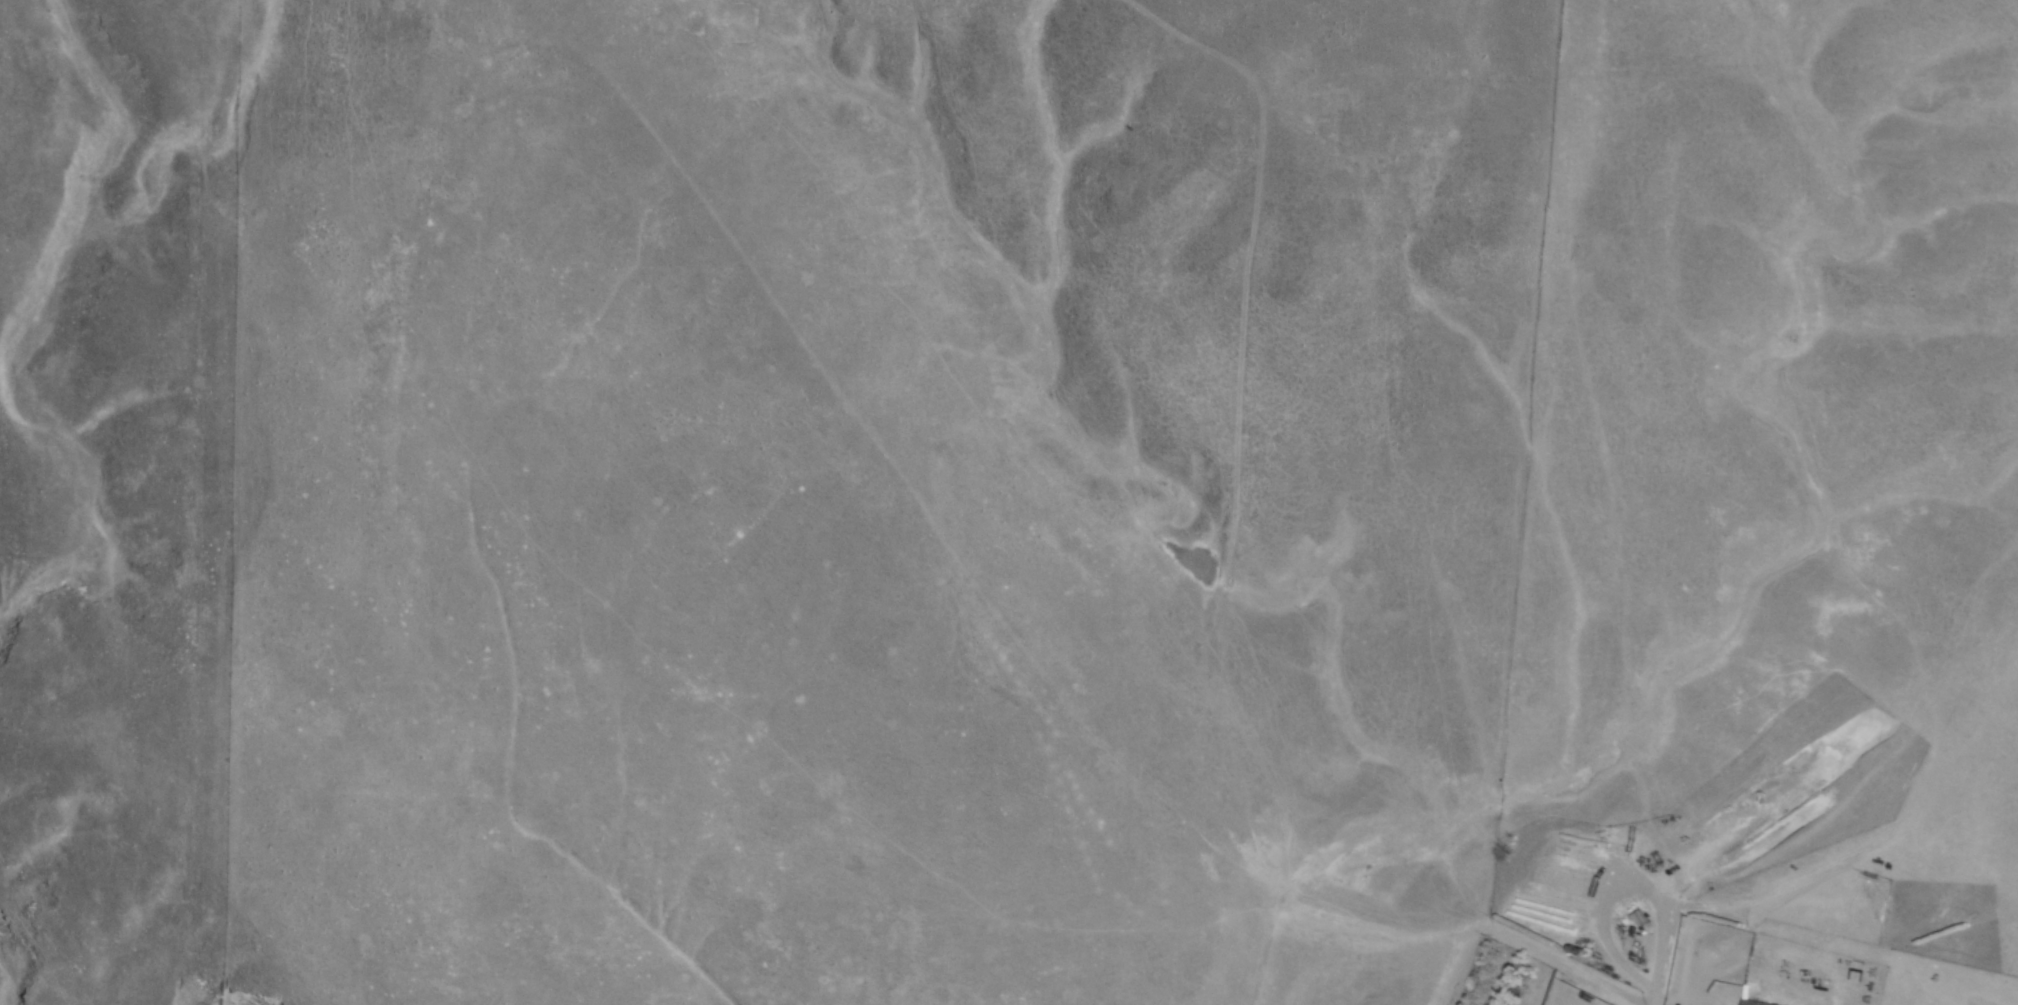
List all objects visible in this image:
building: (1761, 1002)

